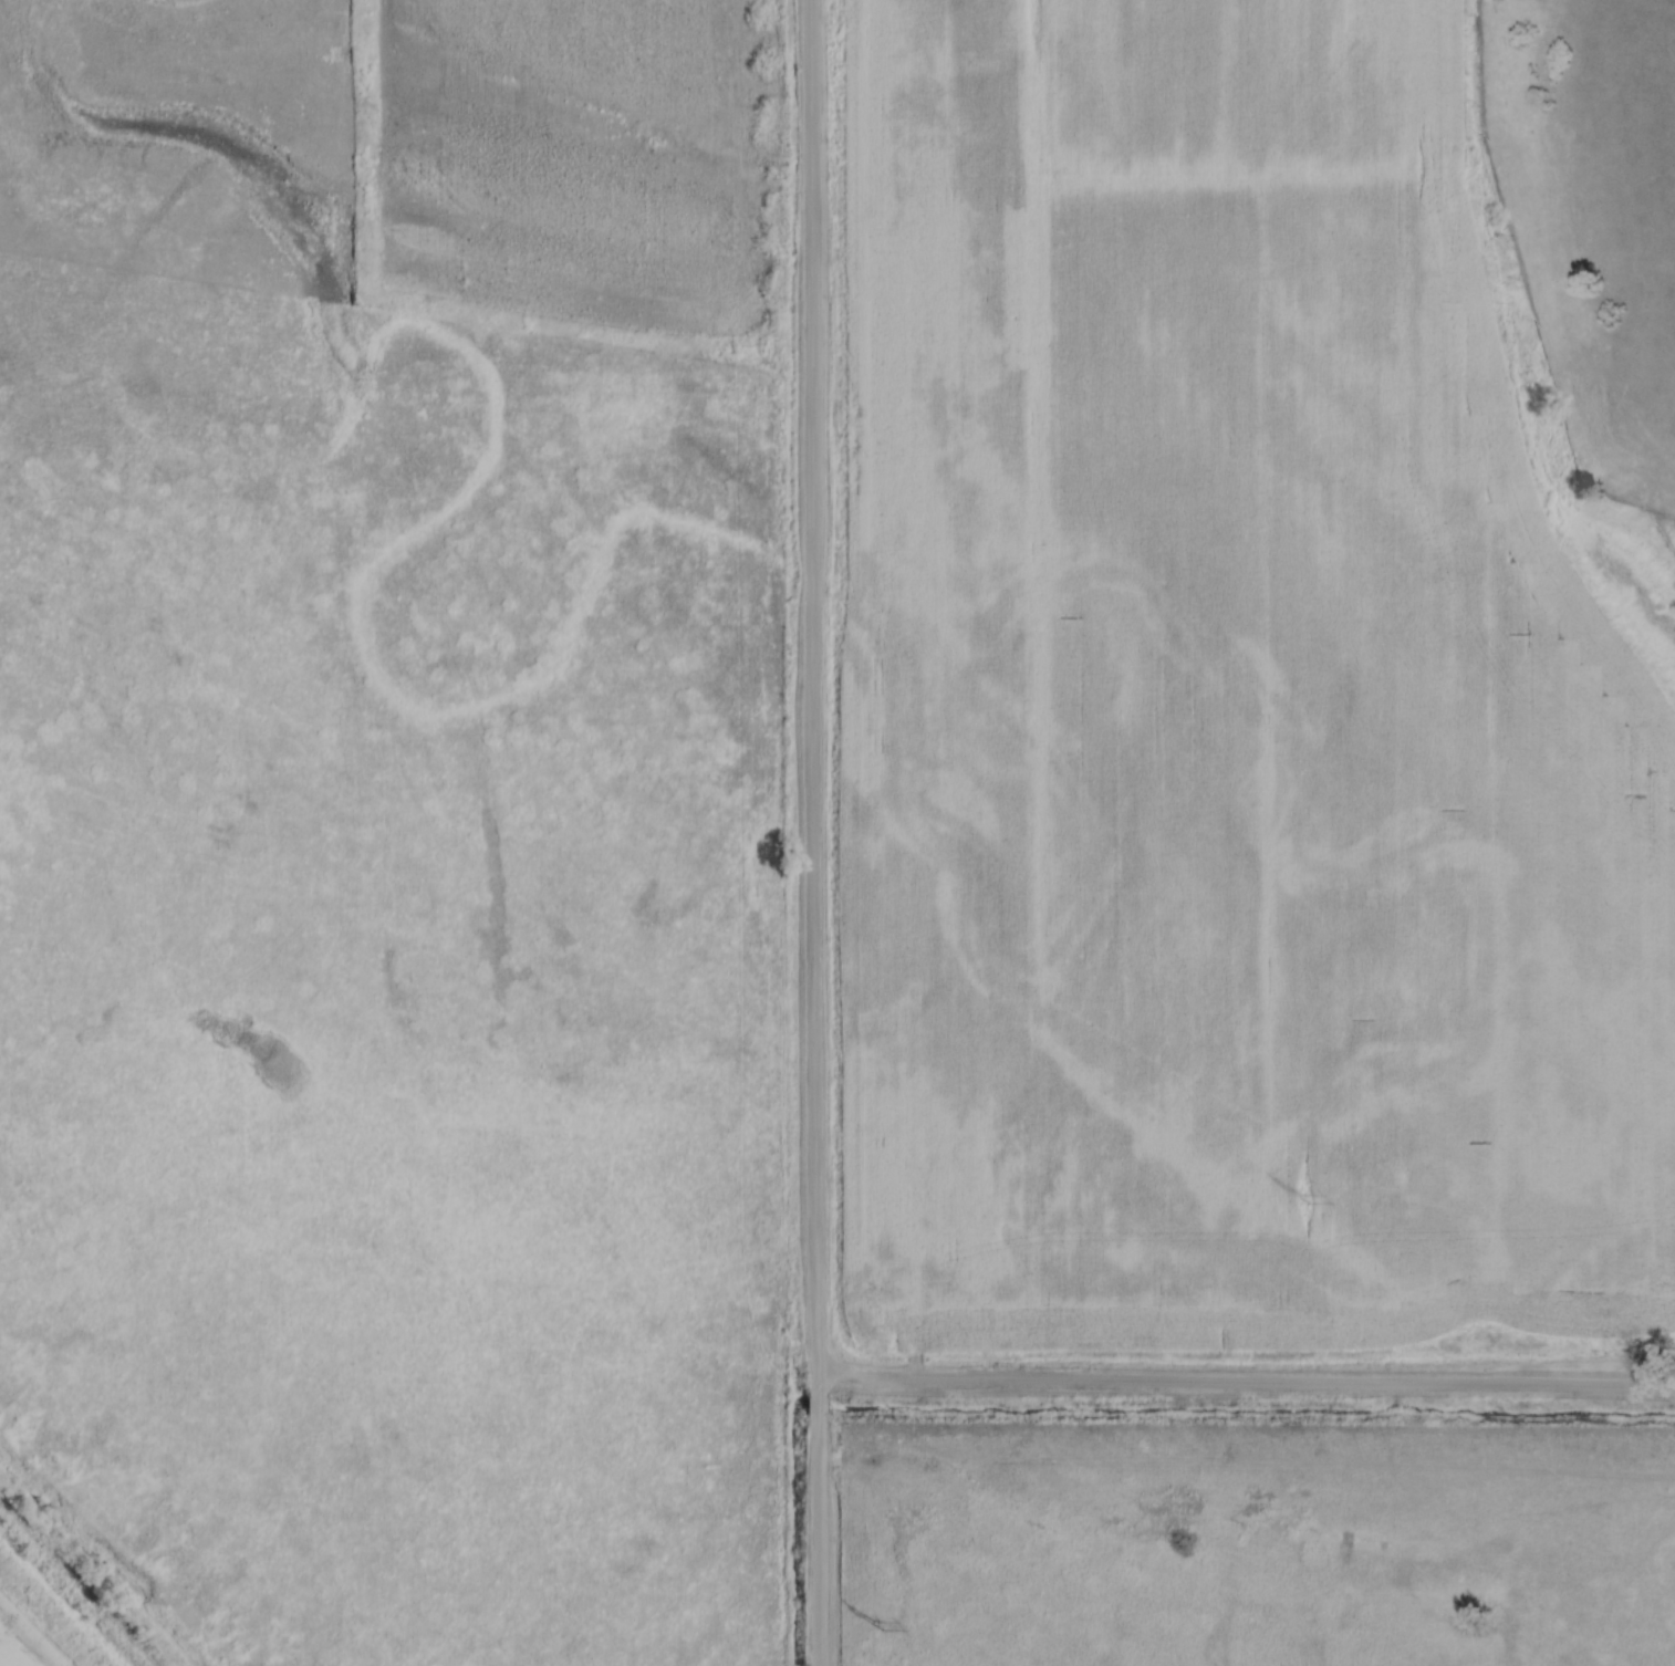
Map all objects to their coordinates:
airport runway: (1442, 230)
road: (811, 696)
power tower: (1311, 1196)
road: (1248, 1384)
road: (822, 1405)
river: (1109, 1409)
road: (822, 1542)
river: (91, 1575)
power tower: (868, 1615)

